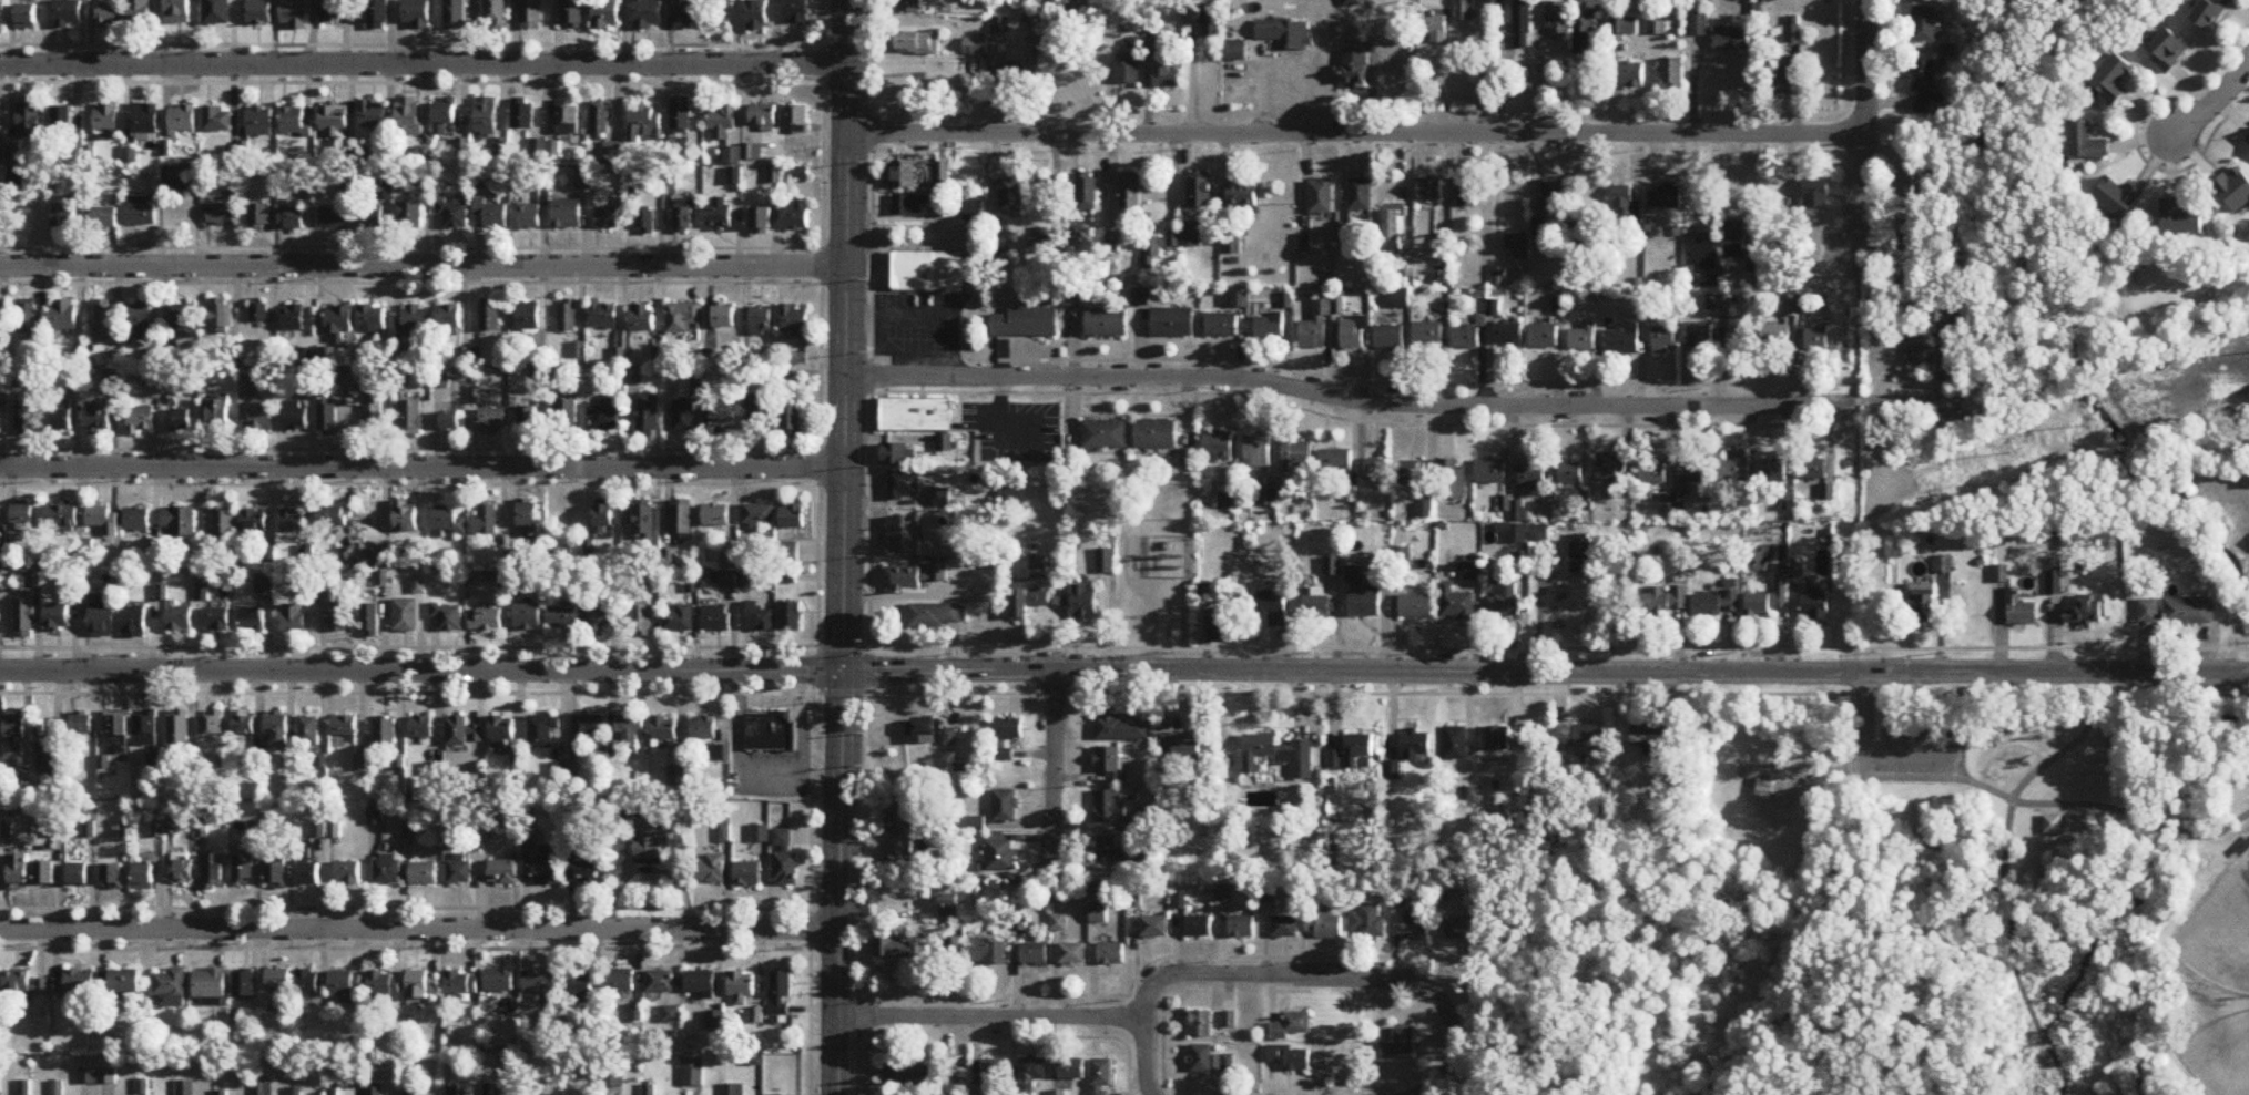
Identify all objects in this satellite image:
building: (908, 7)
building: (1463, 10)
building: (180, 12)
building: (218, 12)
building: (261, 12)
building: (333, 12)
building: (798, 12)
building: (140, 13)
building: (418, 13)
building: (2212, 13)
building: (70, 14)
building: (297, 14)
building: (457, 14)
building: (497, 14)
building: (532, 14)
building: (574, 14)
building: (607, 14)
building: (650, 14)
building: (689, 14)
building: (2, 16)
building: (111, 16)
building: (379, 16)
building: (757, 16)
building: (28, 18)
building: (1556, 19)
building: (1211, 22)
building: (1657, 25)
building: (1699, 25)
building: (1925, 25)
building: (1624, 27)
building: (1585, 28)
building: (1434, 29)
building: (1519, 30)
building: (1285, 33)
building: (1732, 39)
road: (411, 43)
building: (915, 44)
building: (976, 48)
building: (2170, 51)
road: (424, 63)
building: (1355, 70)
building: (1128, 71)
building: (1672, 74)
building: (1630, 75)
building: (1012, 78)
building: (1168, 79)
road: (411, 81)
building: (1785, 81)
building: (2114, 81)
building: (1925, 88)
road: (2211, 99)
building: (682, 116)
building: (377, 117)
building: (410, 117)
building: (488, 117)
building: (108, 119)
building: (525, 119)
building: (765, 119)
building: (147, 120)
building: (601, 120)
building: (797, 120)
building: (184, 121)
building: (220, 121)
building: (447, 121)
building: (569, 121)
building: (31, 122)
building: (65, 122)
building: (336, 122)
building: (262, 124)
building: (297, 124)
building: (643, 124)
building: (724, 126)
road: (1355, 132)
road: (1863, 135)
building: (2088, 143)
building: (900, 176)
building: (943, 176)
building: (419, 178)
building: (177, 181)
building: (1431, 191)
building: (1087, 193)
building: (1130, 193)
building: (1199, 193)
building: (1910, 193)
building: (1467, 194)
building: (1816, 194)
building: (1554, 195)
building: (1011, 196)
building: (1360, 196)
building: (1243, 197)
building: (1321, 197)
building: (1665, 197)
building: (2119, 199)
building: (913, 206)
building: (1627, 206)
building: (1, 211)
building: (141, 212)
building: (454, 212)
building: (974, 213)
building: (720, 214)
building: (492, 215)
building: (567, 215)
building: (222, 216)
building: (684, 216)
building: (261, 217)
building: (410, 217)
building: (530, 217)
building: (797, 217)
building: (65, 218)
building: (372, 218)
building: (104, 219)
building: (335, 219)
building: (609, 219)
building: (292, 221)
building: (761, 222)
building: (2181, 222)
building: (645, 223)
building: (1390, 232)
building: (1191, 236)
building: (1734, 241)
building: (1772, 245)
road: (410, 246)
building: (1232, 246)
building: (1518, 246)
building: (1708, 248)
road: (423, 264)
building: (930, 274)
road: (409, 282)
building: (1401, 299)
building: (258, 314)
building: (603, 315)
building: (62, 316)
building: (567, 316)
building: (490, 317)
building: (528, 317)
building: (27, 318)
building: (293, 318)
building: (448, 318)
building: (642, 318)
building: (724, 318)
building: (684, 319)
building: (140, 320)
building: (104, 321)
building: (222, 321)
building: (415, 321)
building: (761, 321)
building: (795, 321)
building: (184, 323)
building: (372, 323)
road: (818, 323)
road: (871, 323)
building: (338, 324)
building: (1107, 324)
building: (1173, 324)
building: (1026, 325)
building: (1222, 327)
building: (1315, 327)
building: (1269, 328)
building: (1427, 334)
building: (1352, 335)
building: (1508, 335)
building: (1929, 335)
building: (1697, 336)
building: (1544, 337)
building: (1740, 337)
building: (1775, 337)
building: (1388, 338)
building: (1466, 338)
building: (1584, 338)
building: (1624, 339)
building: (1663, 340)
building: (1816, 340)
building: (329, 356)
building: (305, 358)
building: (305, 379)
road: (1421, 382)
road: (1335, 399)
road: (1856, 400)
road: (1886, 400)
building: (374, 413)
building: (757, 413)
building: (648, 415)
building: (61, 416)
building: (218, 416)
building: (683, 416)
building: (916, 416)
building: (294, 417)
building: (604, 417)
building: (26, 418)
building: (99, 418)
building: (411, 418)
building: (792, 418)
building: (261, 419)
building: (567, 419)
building: (724, 419)
building: (140, 420)
building: (182, 421)
building: (327, 421)
building: (454, 421)
building: (528, 421)
road: (1362, 421)
building: (492, 423)
parking lot: (1012, 429)
building: (1105, 434)
building: (1156, 434)
building: (1218, 446)
road: (408, 448)
building: (1256, 452)
building: (899, 453)
building: (1295, 456)
building: (1334, 461)
road: (421, 464)
building: (1734, 467)
building: (1375, 469)
building: (1813, 469)
building: (1490, 471)
building: (1653, 472)
building: (1411, 473)
building: (1570, 473)
building: (1617, 475)
building: (1533, 477)
building: (1778, 478)
building: (1452, 480)
road: (409, 482)
building: (1690, 483)
building: (905, 485)
building: (716, 514)
building: (759, 514)
building: (22, 515)
building: (330, 515)
building: (793, 515)
building: (62, 516)
building: (405, 516)
building: (682, 518)
building: (528, 519)
building: (136, 520)
building: (223, 520)
building: (603, 520)
building: (180, 521)
building: (254, 521)
building: (293, 521)
building: (486, 521)
building: (643, 521)
building: (104, 523)
building: (448, 523)
building: (1515, 533)
building: (906, 534)
road: (843, 547)
building: (788, 555)
power substation: (1171, 556)
building: (1583, 557)
building: (492, 560)
building: (736, 560)
building: (1105, 562)
building: (1943, 565)
building: (1039, 567)
building: (1797, 569)
building: (1782, 574)
building: (920, 576)
building: (1355, 576)
building: (2057, 579)
building: (736, 580)
building: (265, 583)
building: (71, 592)
building: (1505, 598)
building: (1085, 601)
building: (1667, 601)
building: (1716, 603)
building: (1815, 603)
building: (1021, 604)
building: (1364, 604)
building: (1456, 604)
building: (1922, 604)
building: (1416, 606)
building: (1273, 607)
building: (1317, 608)
building: (2018, 611)
building: (2189, 612)
building: (2084, 613)
building: (2148, 613)
building: (406, 615)
building: (935, 615)
building: (59, 616)
building: (102, 616)
building: (529, 616)
building: (791, 616)
building: (294, 617)
building: (338, 617)
building: (449, 617)
building: (759, 617)
building: (26, 618)
building: (562, 618)
building: (641, 618)
building: (181, 620)
building: (217, 620)
building: (254, 620)
building: (487, 620)
building: (598, 620)
building: (679, 620)
building: (718, 620)
building: (370, 621)
building: (134, 622)
road: (1152, 622)
building: (1224, 625)
road: (1126, 645)
traffic signals: (845, 668)
road: (1035, 668)
road: (1076, 668)
road: (1123, 668)
road: (1123, 692)
building: (244, 723)
building: (212, 725)
building: (82, 726)
building: (179, 727)
building: (344, 727)
building: (421, 727)
road: (804, 727)
building: (501, 728)
building: (704, 728)
building: (925, 728)
building: (1010, 728)
building: (1121, 728)
building: (277, 729)
building: (589, 729)
building: (145, 730)
building: (664, 730)
building: (769, 730)
building: (14, 731)
building: (309, 731)
building: (385, 731)
building: (542, 731)
building: (630, 731)
building: (464, 733)
building: (119, 734)
building: (1581, 737)
building: (1498, 738)
building: (1651, 739)
building: (1455, 744)
building: (1416, 746)
building: (1182, 747)
parking lot: (1909, 753)
road: (2063, 753)
building: (720, 754)
building: (1354, 754)
building: (1279, 755)
building: (48, 756)
road: (1871, 756)
road: (1963, 763)
building: (1111, 764)
road: (1055, 768)
road: (739, 771)
road: (1804, 774)
building: (1770, 789)
building: (22, 790)
road: (1791, 792)
road: (1849, 797)
building: (1005, 806)
building: (1110, 807)
road: (2076, 807)
building: (1146, 822)
building: (2052, 826)
road: (2164, 826)
building: (900, 830)
road: (2220, 833)
building: (760, 835)
building: (650, 846)
building: (1111, 850)
building: (1000, 853)
building: (784, 860)
building: (547, 866)
building: (276, 868)
building: (459, 869)
building: (243, 870)
building: (386, 870)
building: (710, 870)
road: (808, 870)
road: (865, 870)
building: (583, 871)
building: (18, 872)
building: (182, 872)
building: (213, 872)
building: (348, 872)
building: (502, 872)
building: (45, 873)
building: (309, 873)
building: (424, 873)
building: (78, 874)
building: (747, 874)
building: (112, 877)
building: (144, 878)
park: (1964, 890)
road: (404, 905)
building: (949, 908)
building: (1098, 913)
building: (1323, 923)
building: (1368, 923)
road: (418, 925)
building: (1153, 927)
building: (1284, 927)
building: (1198, 928)
building: (1241, 928)
building: (1416, 929)
building: (1459, 929)
park: (2220, 932)
road: (404, 946)
building: (896, 949)
building: (954, 949)
building: (988, 952)
building: (1034, 954)
building: (1072, 954)
building: (1111, 954)
road: (1311, 975)
building: (278, 979)
building: (499, 981)
building: (540, 981)
building: (620, 981)
building: (307, 982)
building: (660, 982)
building: (124, 983)
building: (462, 983)
building: (700, 983)
building: (171, 984)
building: (210, 984)
building: (244, 984)
building: (385, 984)
building: (424, 984)
building: (580, 984)
building: (67, 985)
building: (345, 985)
building: (17, 987)
building: (741, 990)
building: (781, 995)
building: (672, 1015)
road: (990, 1015)
building: (1201, 1025)
building: (1289, 1027)
road: (2039, 1030)
building: (1396, 1046)
road: (1148, 1056)
building: (1291, 1057)
park: (2220, 1057)
building: (1201, 1058)
building: (1224, 1064)
building: (1071, 1070)
building: (693, 1073)
building: (907, 1073)
building: (1031, 1073)
road: (1446, 1074)
building: (993, 1075)
building: (1101, 1077)
building: (734, 1091)

